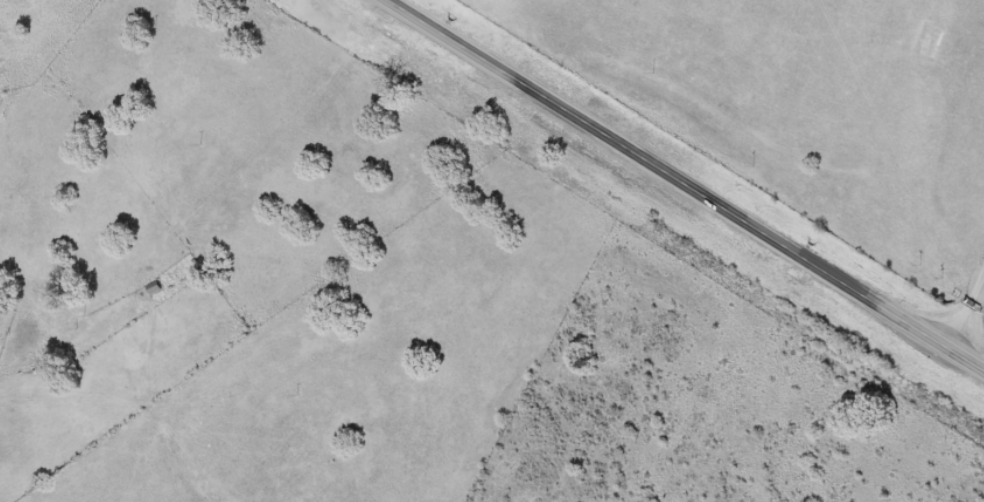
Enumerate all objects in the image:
road: (683, 185)
building: (155, 289)
road: (964, 306)

